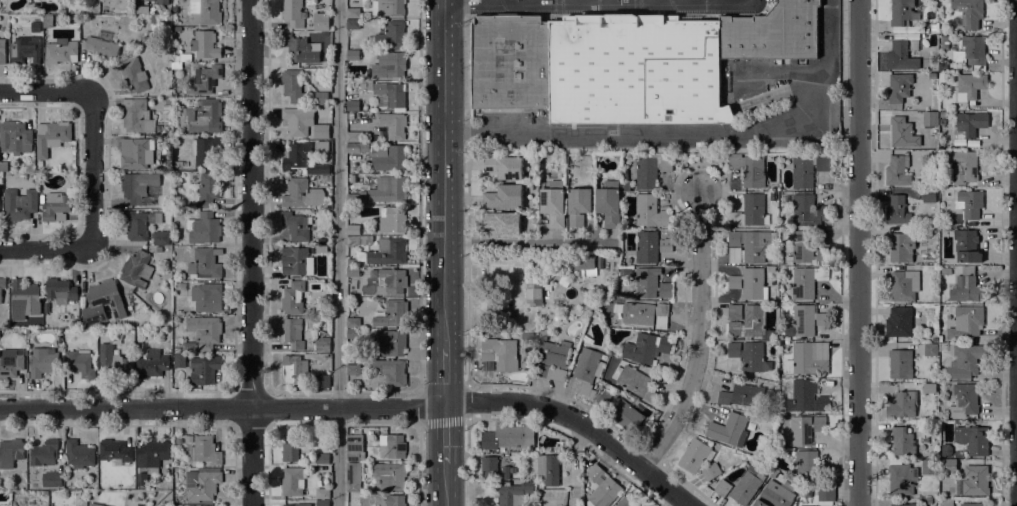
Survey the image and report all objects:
road: (645, 1)
road: (680, 1)
road: (717, 1)
building: (162, 2)
road: (491, 2)
road: (529, 2)
road: (565, 2)
road: (604, 2)
road: (750, 2)
road: (618, 3)
road: (466, 5)
building: (388, 7)
building: (95, 9)
building: (141, 9)
building: (87, 10)
building: (61, 11)
building: (206, 11)
building: (900, 11)
building: (969, 12)
building: (292, 13)
building: (353, 13)
building: (152, 18)
building: (48, 21)
building: (321, 21)
building: (353, 24)
building: (933, 27)
building: (176, 29)
building: (773, 33)
building: (391, 35)
building: (930, 36)
building: (930, 42)
building: (944, 42)
building: (204, 44)
building: (914, 44)
building: (298, 46)
building: (352, 47)
building: (102, 48)
building: (26, 50)
building: (2, 51)
building: (60, 51)
building: (970, 51)
building: (352, 55)
building: (900, 56)
building: (185, 57)
building: (510, 62)
building: (176, 65)
building: (389, 65)
road: (465, 66)
building: (942, 66)
building: (635, 69)
building: (134, 74)
building: (932, 75)
building: (203, 79)
building: (942, 79)
building: (292, 85)
building: (970, 85)
building: (362, 86)
building: (898, 87)
building: (391, 93)
building: (321, 98)
building: (168, 100)
building: (352, 105)
building: (943, 114)
building: (350, 115)
building: (136, 116)
building: (201, 116)
building: (930, 118)
building: (942, 122)
building: (303, 123)
building: (969, 124)
road: (93, 125)
building: (392, 125)
building: (931, 130)
building: (54, 131)
road: (684, 132)
building: (902, 133)
building: (352, 136)
building: (15, 137)
building: (356, 147)
building: (204, 150)
building: (136, 153)
building: (387, 157)
building: (303, 160)
building: (53, 161)
building: (822, 164)
building: (504, 166)
building: (963, 167)
building: (1, 168)
building: (748, 169)
building: (651, 170)
building: (897, 171)
building: (802, 172)
road: (443, 173)
building: (175, 175)
building: (35, 176)
building: (624, 176)
building: (325, 180)
building: (138, 186)
building: (624, 186)
building: (208, 188)
building: (388, 189)
building: (301, 193)
building: (942, 193)
road: (418, 195)
building: (929, 195)
building: (504, 196)
building: (774, 197)
building: (352, 198)
building: (554, 203)
building: (609, 203)
building: (969, 203)
building: (19, 204)
building: (56, 205)
building: (578, 205)
building: (749, 210)
building: (808, 210)
building: (896, 210)
building: (650, 211)
building: (392, 218)
building: (784, 218)
building: (503, 222)
building: (139, 223)
building: (296, 225)
building: (205, 228)
building: (355, 229)
building: (160, 237)
building: (173, 239)
building: (356, 240)
road: (529, 242)
building: (665, 245)
building: (646, 246)
building: (749, 246)
building: (902, 246)
building: (967, 246)
building: (321, 248)
road: (44, 249)
building: (158, 249)
building: (807, 249)
building: (387, 252)
road: (251, 253)
road: (336, 253)
road: (858, 253)
road: (1016, 253)
building: (924, 256)
building: (296, 261)
building: (205, 262)
building: (351, 262)
building: (577, 262)
building: (136, 269)
building: (771, 269)
building: (353, 271)
building: (394, 280)
building: (806, 281)
building: (749, 283)
building: (651, 284)
building: (2, 285)
building: (904, 285)
building: (60, 290)
building: (971, 290)
building: (534, 294)
building: (23, 297)
building: (207, 297)
building: (294, 298)
building: (103, 302)
building: (945, 309)
building: (734, 312)
building: (392, 313)
building: (642, 313)
building: (806, 320)
building: (352, 322)
building: (899, 322)
building: (966, 322)
building: (749, 323)
building: (205, 331)
building: (293, 333)
building: (353, 333)
building: (65, 334)
building: (527, 335)
road: (698, 339)
building: (320, 342)
building: (391, 343)
building: (1, 346)
building: (646, 347)
building: (177, 350)
building: (930, 350)
building: (500, 353)
building: (748, 355)
building: (113, 356)
building: (808, 358)
building: (552, 360)
building: (42, 361)
building: (10, 362)
building: (963, 362)
building: (79, 363)
building: (151, 364)
building: (901, 364)
building: (198, 367)
building: (292, 368)
building: (354, 369)
building: (586, 370)
building: (390, 371)
road: (444, 377)
building: (322, 381)
building: (637, 384)
building: (929, 388)
road: (378, 391)
building: (744, 395)
building: (805, 397)
building: (605, 399)
building: (963, 402)
building: (902, 404)
road: (222, 408)
building: (626, 415)
road: (578, 422)
road: (378, 424)
building: (728, 429)
building: (804, 429)
road: (444, 435)
building: (508, 438)
building: (973, 438)
building: (189, 439)
building: (902, 441)
building: (392, 446)
building: (355, 447)
building: (291, 448)
building: (115, 450)
building: (205, 450)
building: (946, 450)
building: (10, 452)
building: (933, 453)
building: (79, 454)
building: (152, 455)
building: (695, 455)
building: (322, 458)
building: (48, 463)
road: (419, 465)
building: (806, 465)
building: (489, 466)
building: (949, 466)
building: (928, 467)
building: (548, 469)
building: (711, 471)
building: (505, 472)
building: (353, 476)
building: (389, 476)
building: (141, 478)
building: (900, 479)
building: (975, 480)
building: (293, 481)
building: (202, 484)
road: (444, 484)
building: (747, 485)
building: (161, 486)
building: (601, 487)
building: (722, 487)
building: (805, 492)
building: (45, 493)
building: (77, 493)
building: (322, 493)
building: (514, 493)
building: (775, 494)
building: (825, 494)
building: (393, 500)
building: (929, 500)
building: (624, 502)
building: (946, 502)
building: (322, 503)
building: (95, 504)
building: (904, 504)
building: (973, 504)
building: (293, 505)
building: (799, 505)
building: (806, 505)

